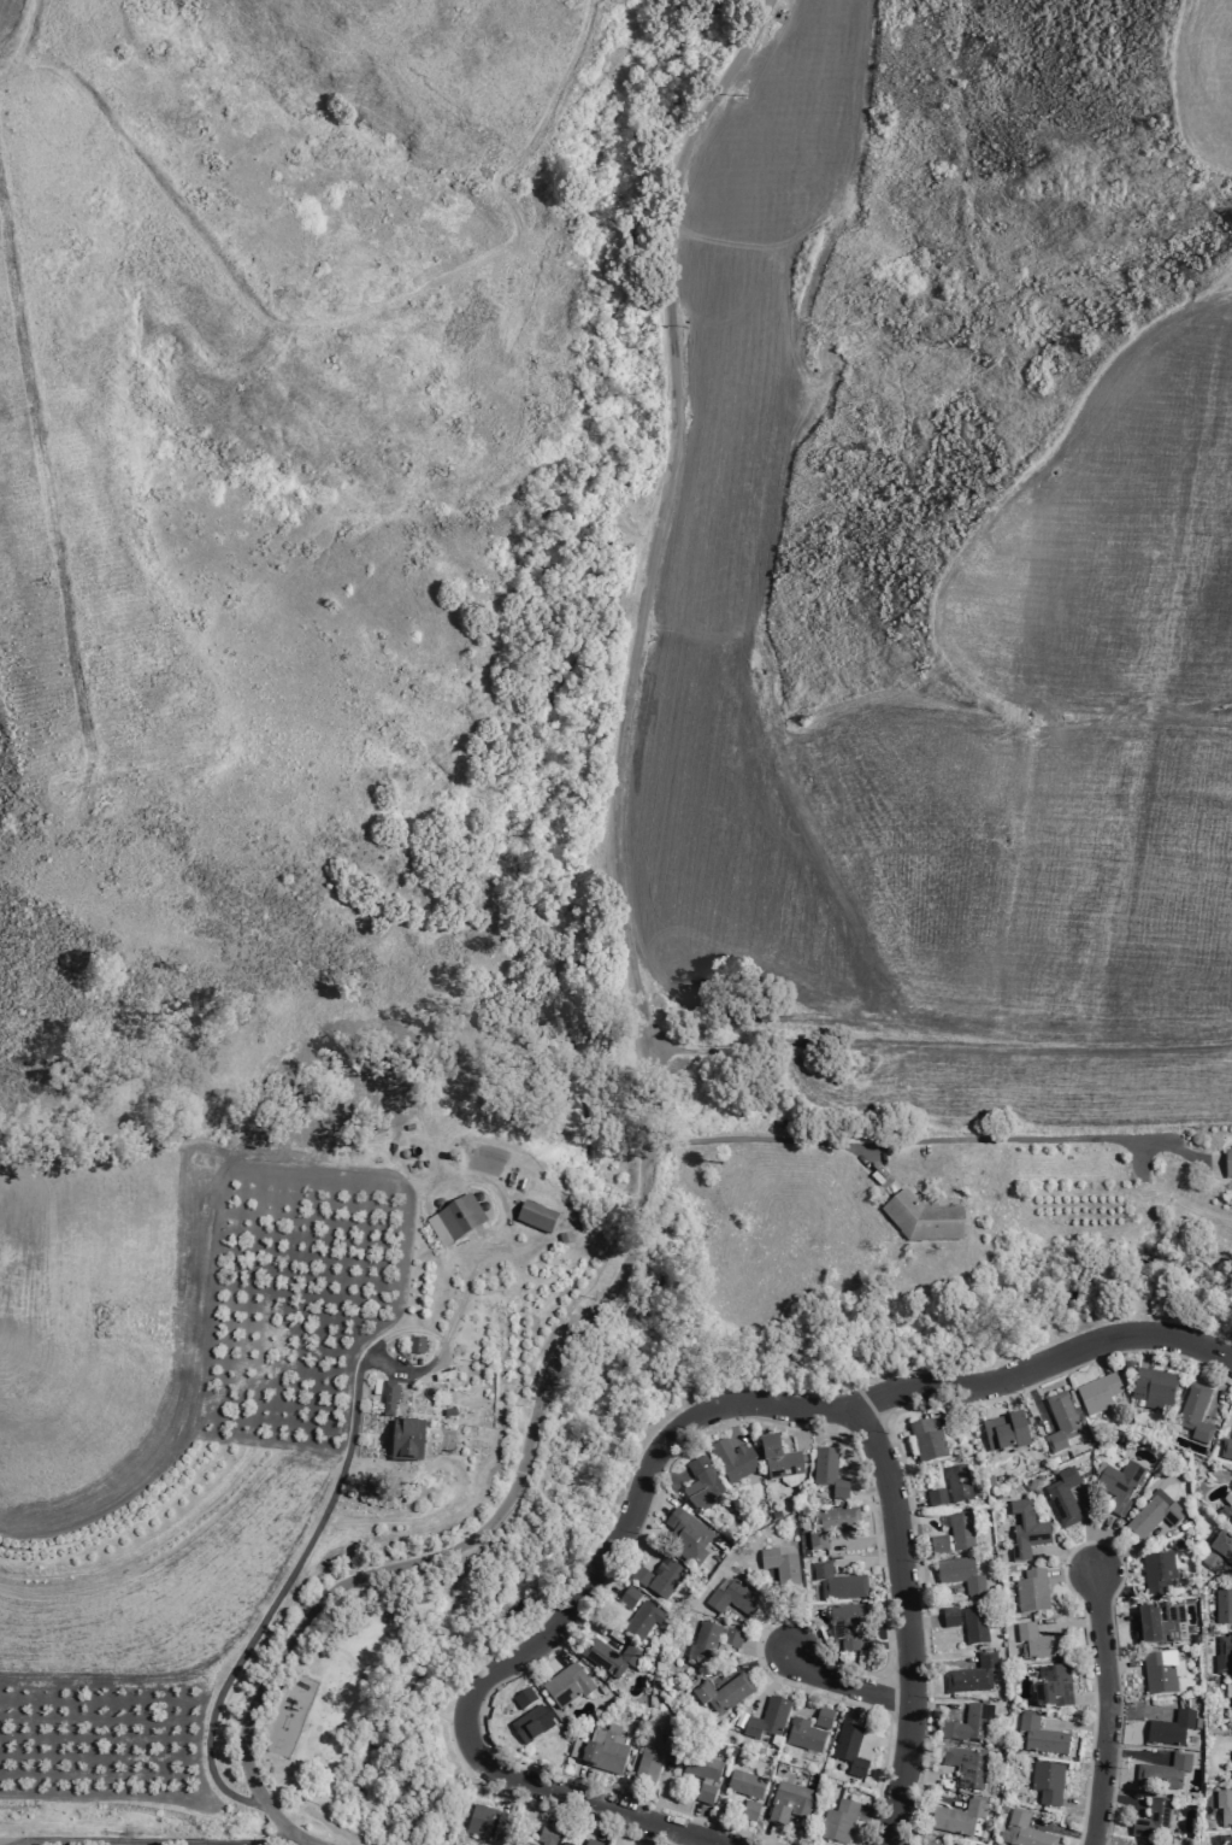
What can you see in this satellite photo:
crop: (1206, 84)
crop: (92, 459)
road: (49, 493)
crop: (929, 716)
road: (632, 989)
road: (925, 1136)
building: (1228, 1164)
building: (534, 1220)
building: (922, 1220)
building: (458, 1222)
building: (415, 1346)
road: (1146, 1350)
road: (1097, 1357)
road: (1048, 1361)
building: (1153, 1389)
road: (1218, 1389)
road: (1007, 1394)
building: (1097, 1394)
building: (389, 1399)
road: (1034, 1400)
building: (1195, 1414)
road: (732, 1422)
road: (767, 1423)
road: (865, 1423)
building: (1061, 1424)
road: (802, 1426)
building: (1006, 1433)
road: (889, 1438)
building: (926, 1441)
building: (401, 1442)
building: (1226, 1450)
road: (897, 1451)
building: (778, 1459)
building: (732, 1461)
building: (827, 1473)
road: (666, 1477)
building: (701, 1485)
building: (957, 1485)
building: (1119, 1486)
road: (870, 1489)
building: (1231, 1489)
building: (936, 1498)
building: (1063, 1498)
road: (653, 1500)
road: (907, 1500)
building: (1225, 1512)
building: (1153, 1514)
building: (774, 1515)
road: (914, 1518)
building: (831, 1526)
building: (1026, 1530)
building: (960, 1532)
building: (686, 1536)
road: (865, 1539)
road: (1090, 1541)
road: (1092, 1543)
road: (1101, 1543)
building: (938, 1545)
road: (642, 1546)
road: (1137, 1547)
building: (1222, 1547)
road: (1065, 1555)
road: (300, 1557)
building: (1213, 1561)
road: (868, 1562)
park: (526, 1563)
building: (780, 1569)
road: (1071, 1571)
road: (1227, 1571)
building: (1157, 1573)
building: (960, 1574)
building: (641, 1576)
building: (664, 1579)
road: (603, 1580)
building: (837, 1582)
road: (1114, 1586)
road: (931, 1591)
building: (1031, 1592)
building: (629, 1598)
building: (733, 1599)
building: (1222, 1606)
road: (777, 1611)
building: (949, 1617)
road: (1115, 1617)
building: (643, 1620)
road: (922, 1622)
road: (1069, 1622)
road: (590, 1623)
road: (907, 1623)
building: (847, 1624)
building: (974, 1624)
building: (1160, 1626)
road: (550, 1630)
road: (759, 1630)
building: (731, 1639)
building: (1038, 1641)
building: (702, 1644)
road: (886, 1645)
road: (341, 1647)
road: (556, 1647)
road: (765, 1647)
building: (1224, 1656)
building: (608, 1657)
road: (898, 1659)
road: (937, 1662)
road: (753, 1663)
road: (1120, 1664)
building: (659, 1667)
building: (1161, 1673)
building: (973, 1676)
road: (773, 1681)
road: (842, 1684)
building: (566, 1685)
building: (1053, 1687)
building: (1231, 1687)
road: (870, 1691)
building: (723, 1694)
road: (809, 1694)
road: (1091, 1697)
road: (405, 1703)
road: (1108, 1706)
road: (936, 1708)
road: (488, 1711)
road: (1138, 1711)
road: (430, 1714)
building: (767, 1718)
building: (824, 1718)
building: (530, 1723)
road: (1074, 1723)
building: (969, 1724)
building: (1171, 1728)
road: (900, 1733)
building: (804, 1735)
building: (1041, 1737)
road: (879, 1743)
building: (601, 1750)
building: (849, 1750)
building: (1231, 1752)
road: (1133, 1753)
building: (649, 1761)
building: (966, 1765)
building: (701, 1767)
building: (1163, 1773)
road: (922, 1776)
road: (580, 1782)
building: (1047, 1782)
building: (745, 1785)
road: (660, 1793)
road: (511, 1796)
road: (927, 1796)
road: (1120, 1798)
road: (1080, 1802)
building: (788, 1803)
road: (532, 1805)
building: (1224, 1806)
road: (555, 1808)
building: (749, 1811)
building: (962, 1820)
road: (696, 1821)
building: (1153, 1821)
road: (599, 1822)
building: (838, 1822)
building: (488, 1826)
road: (624, 1829)
building: (1024, 1832)
road: (1066, 1832)
building: (546, 1834)
road: (296, 1835)
road: (671, 1837)
road: (768, 1837)
building: (1225, 1840)
building: (520, 1843)
building: (591, 1843)
building: (926, 1843)
road: (1100, 1843)
road: (202, 1844)
building: (564, 1844)
road: (712, 1844)

